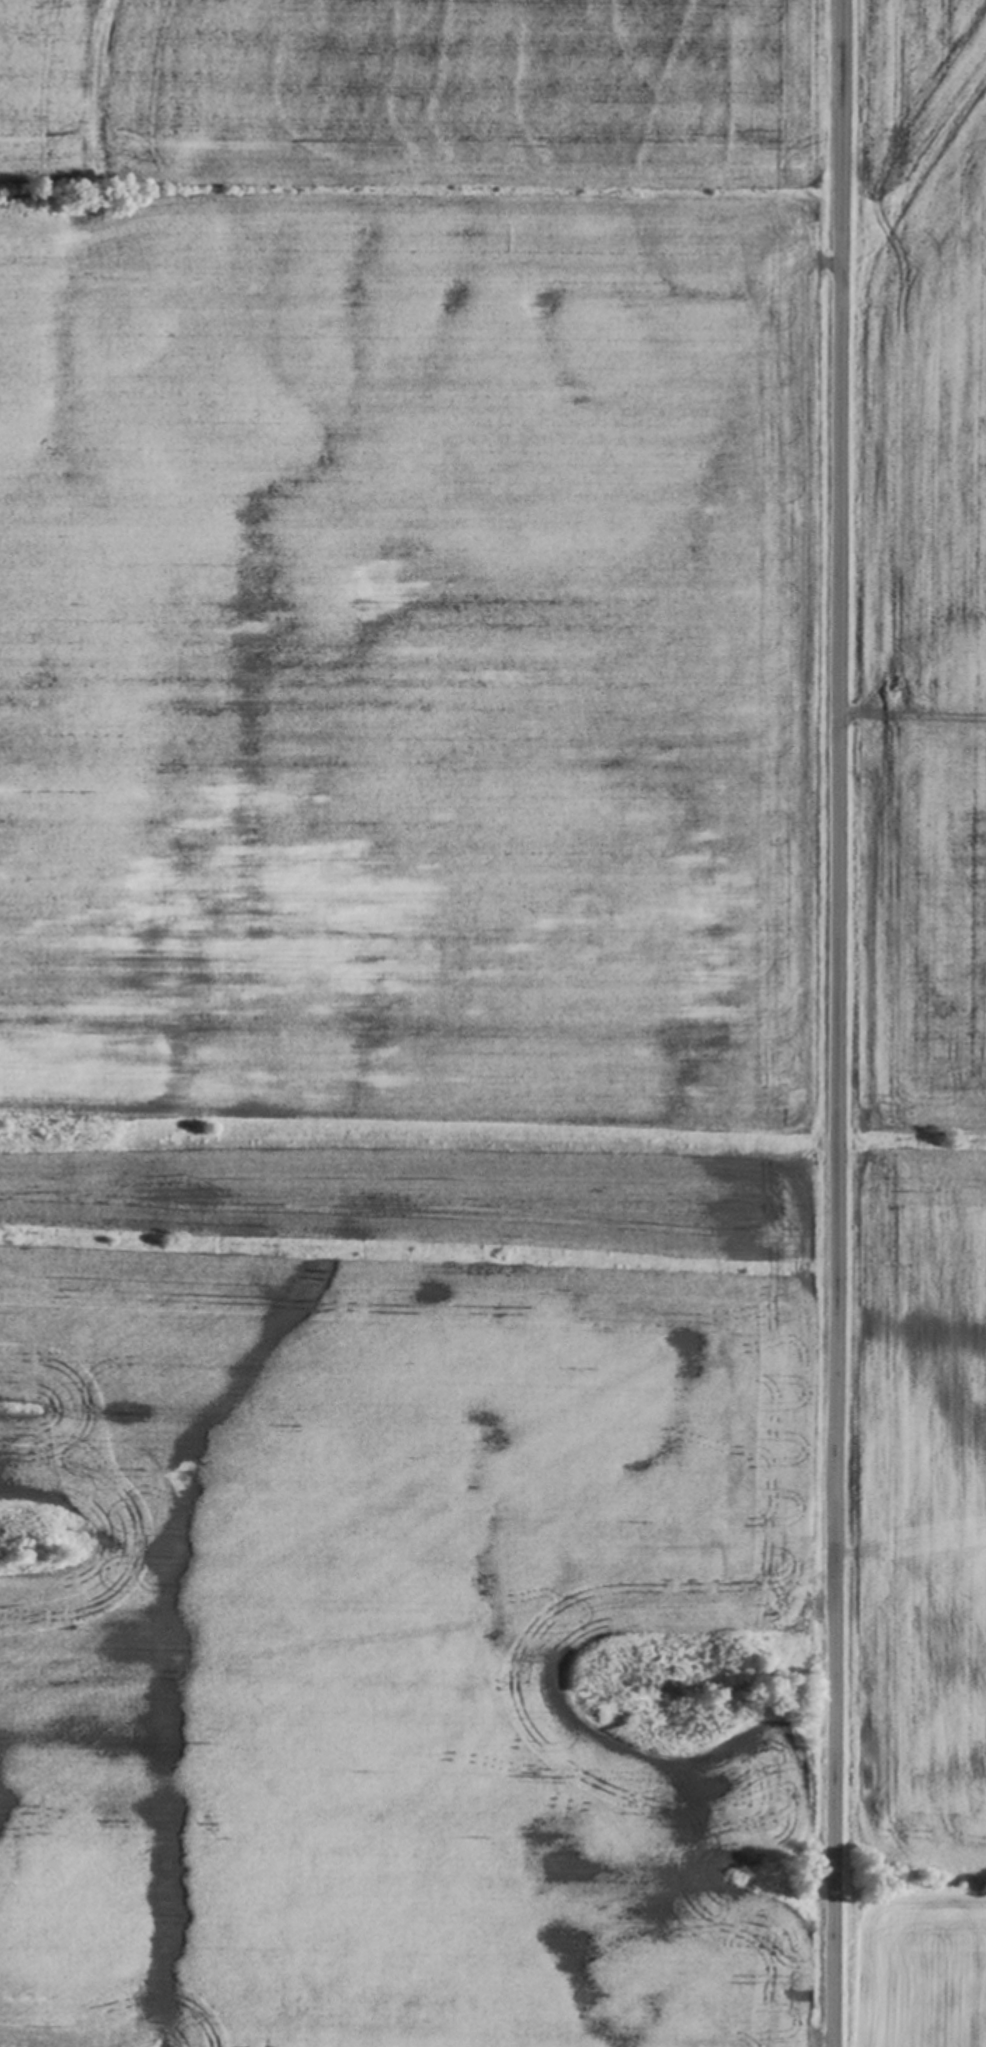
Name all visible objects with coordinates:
road: (832, 1023)

